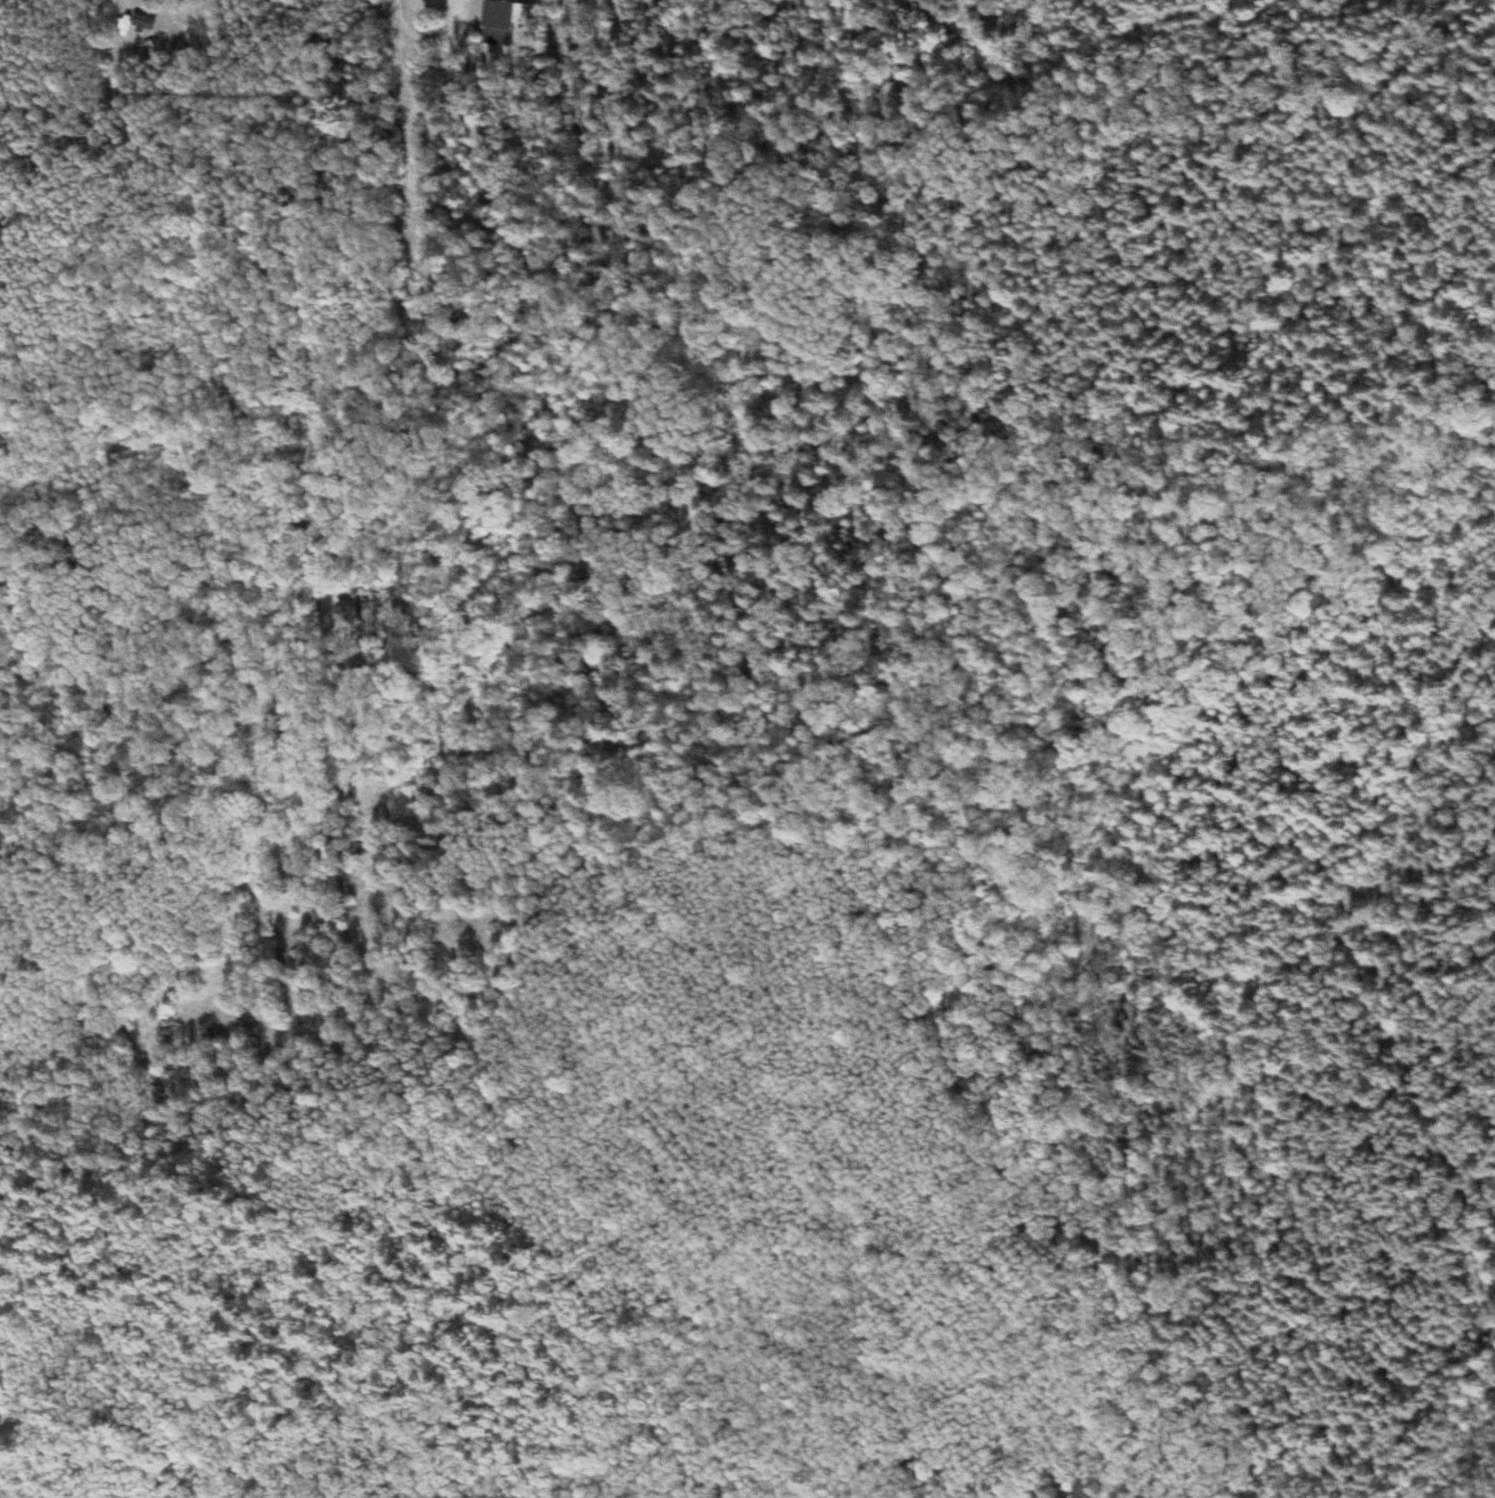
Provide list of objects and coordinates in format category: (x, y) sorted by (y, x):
building: (143, 24)
building: (502, 24)
road: (429, 93)

